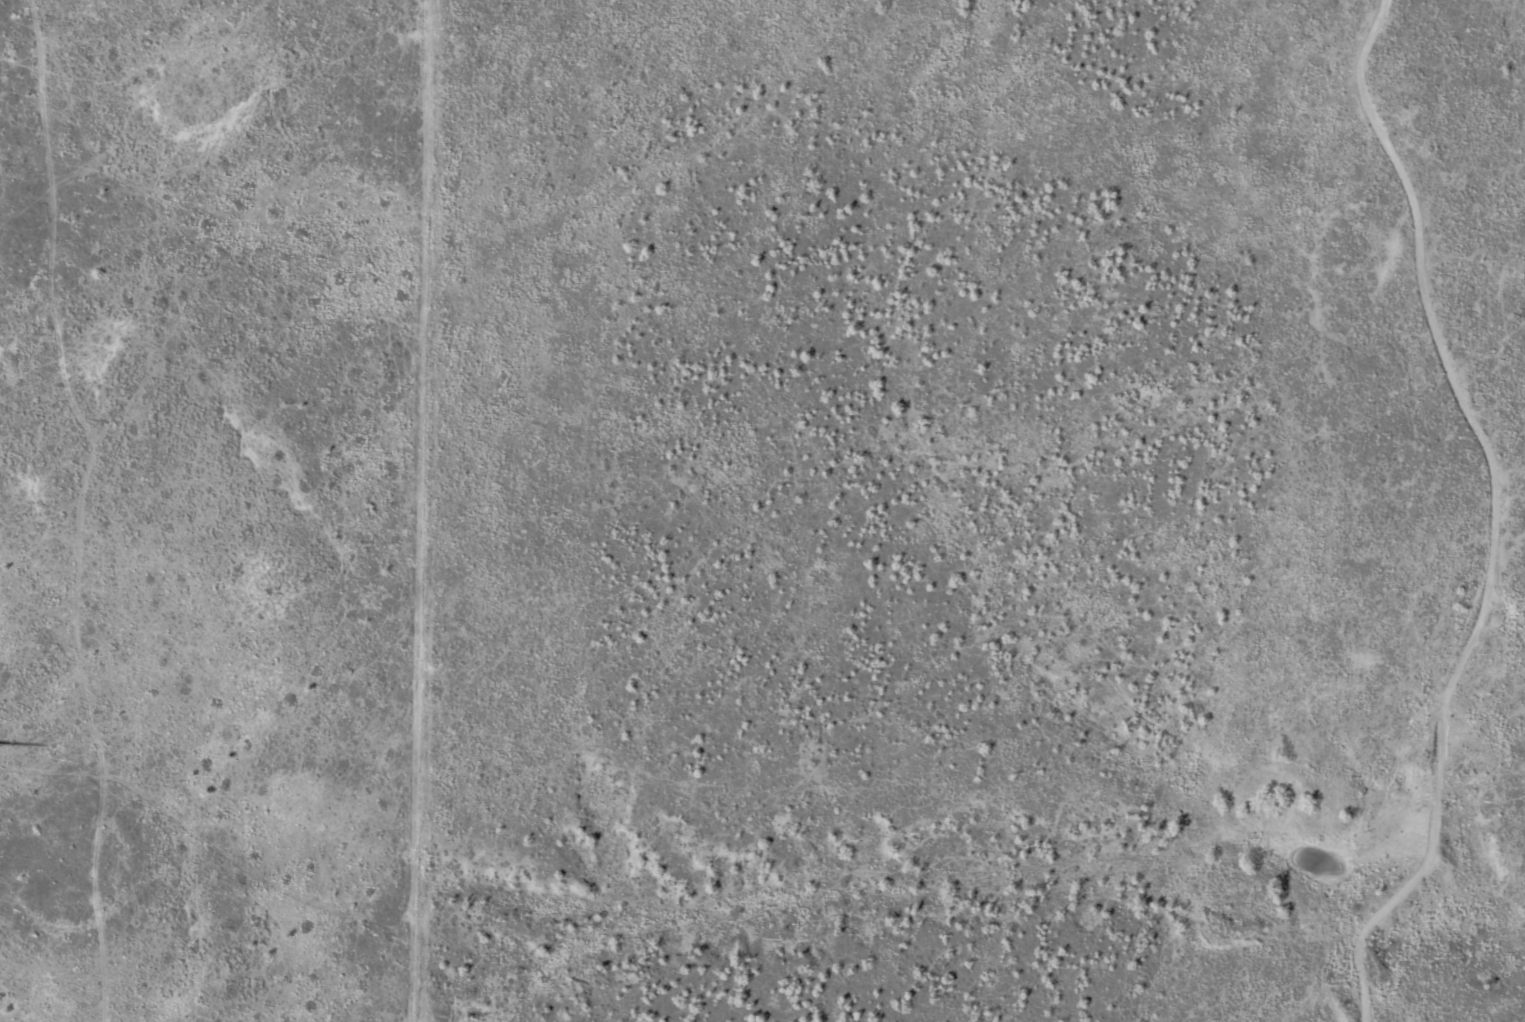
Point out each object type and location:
road: (1474, 235)
road: (77, 511)
road: (1488, 783)

